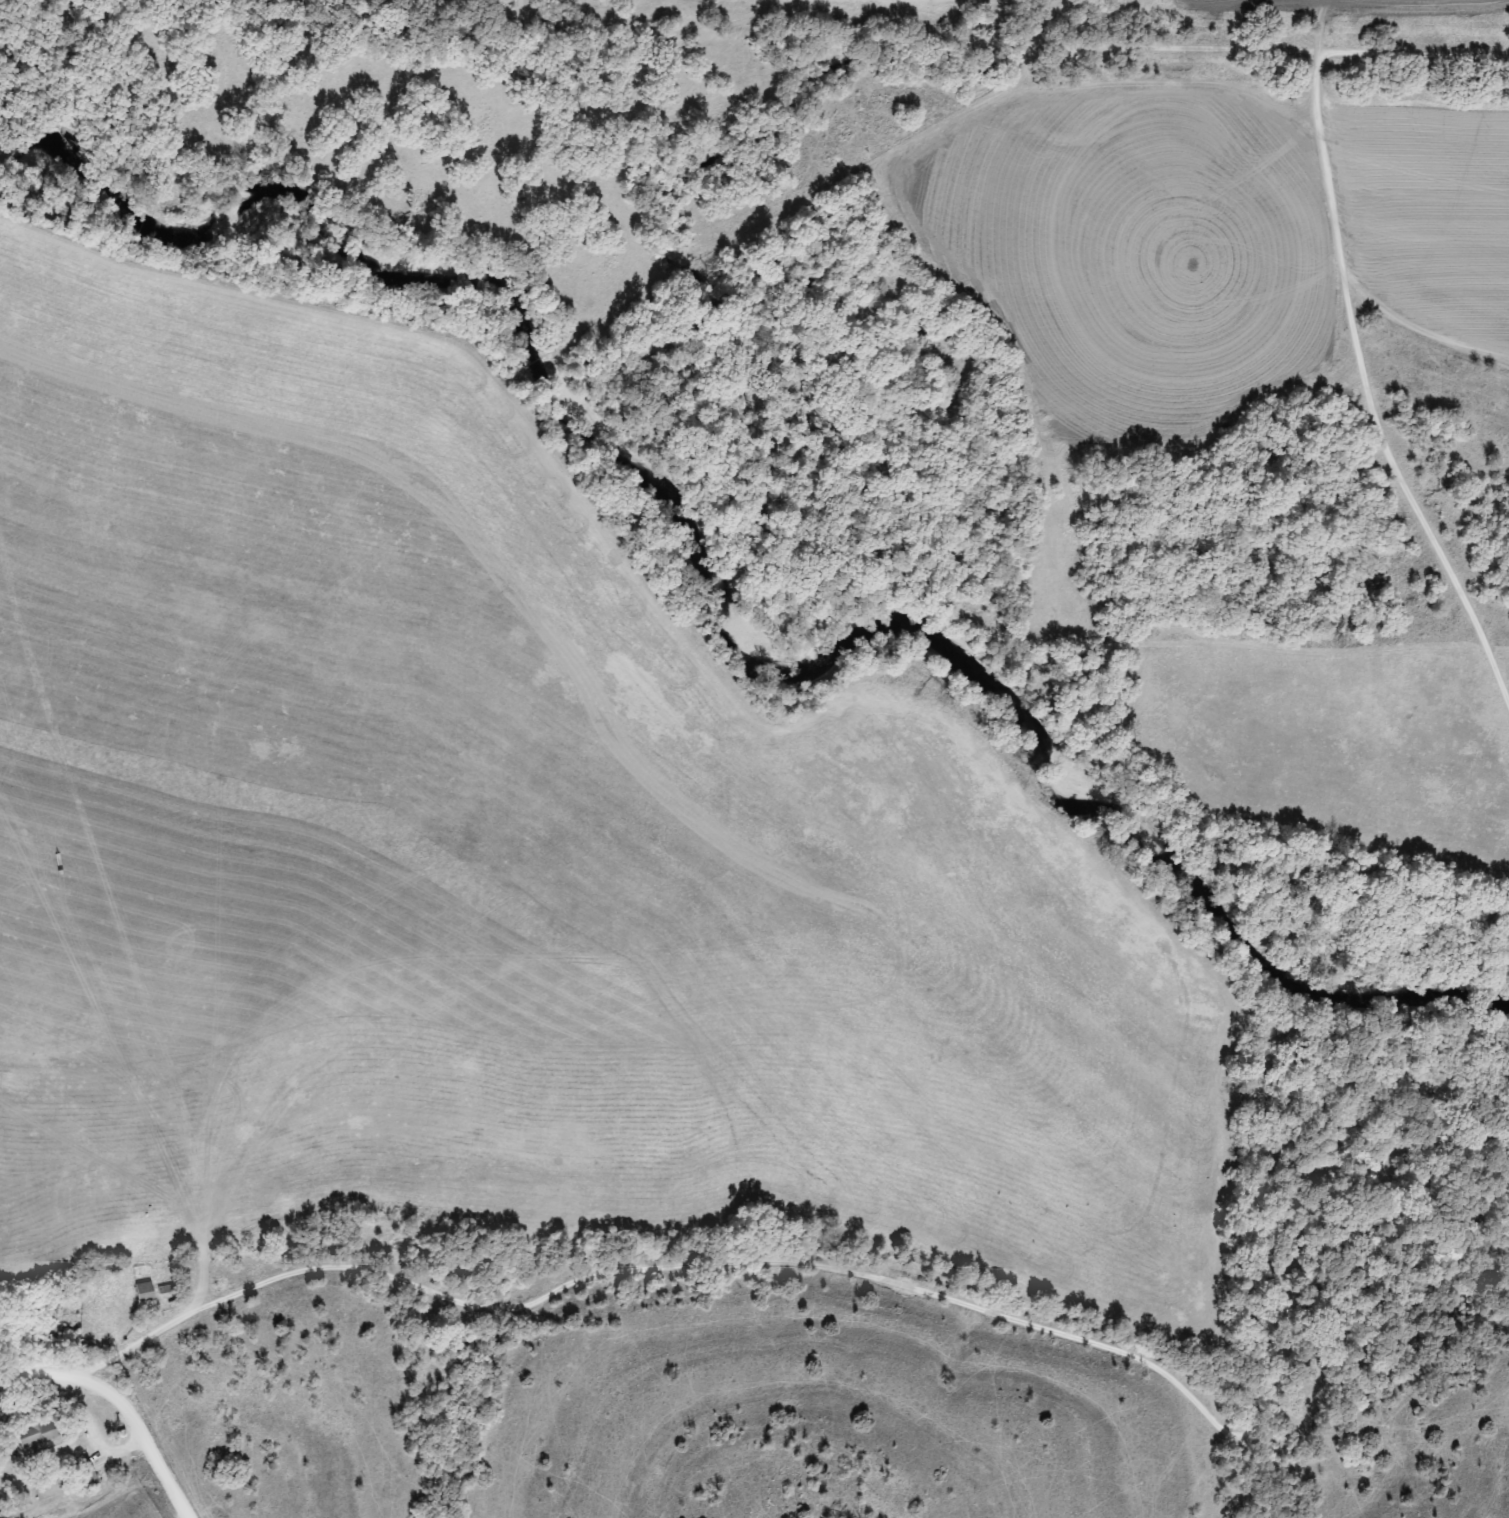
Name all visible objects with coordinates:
building: (144, 1292)
road: (108, 1319)
road: (40, 1367)
road: (147, 1434)
building: (85, 1476)

